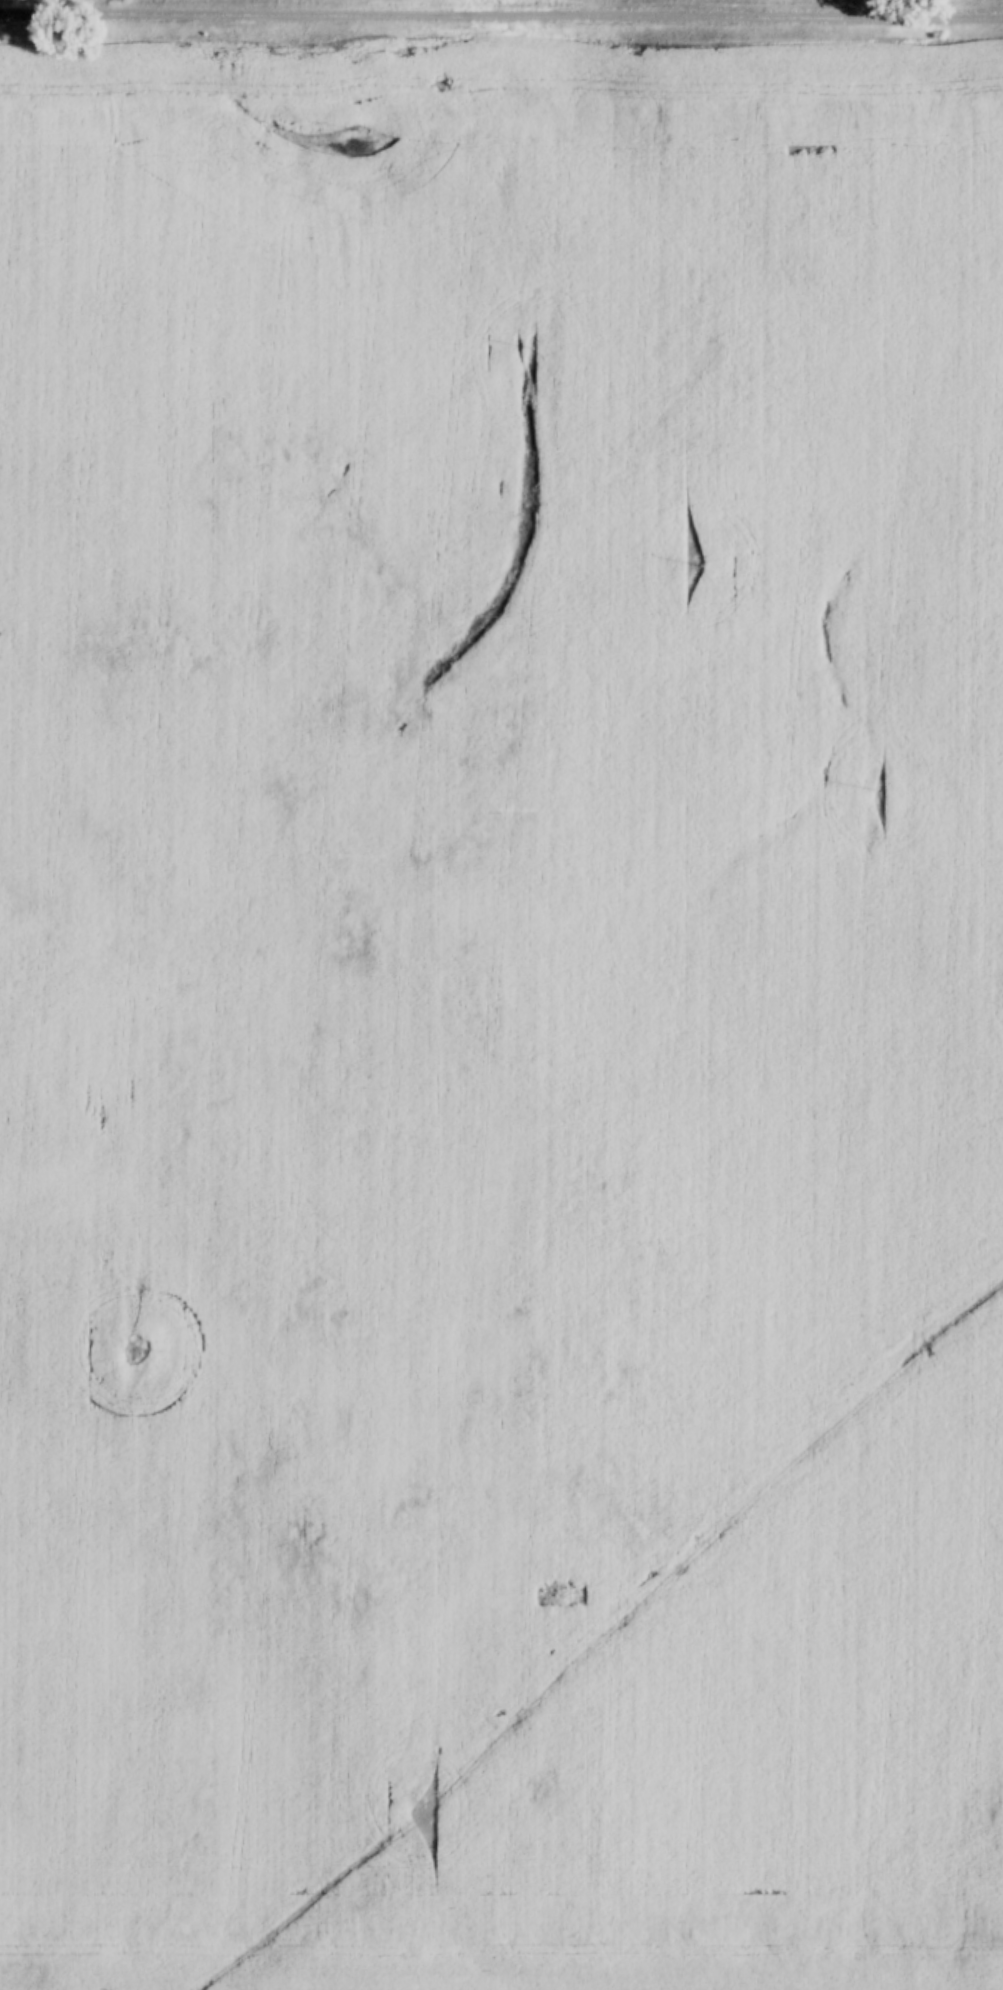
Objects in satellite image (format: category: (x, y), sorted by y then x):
road: (501, 13)

